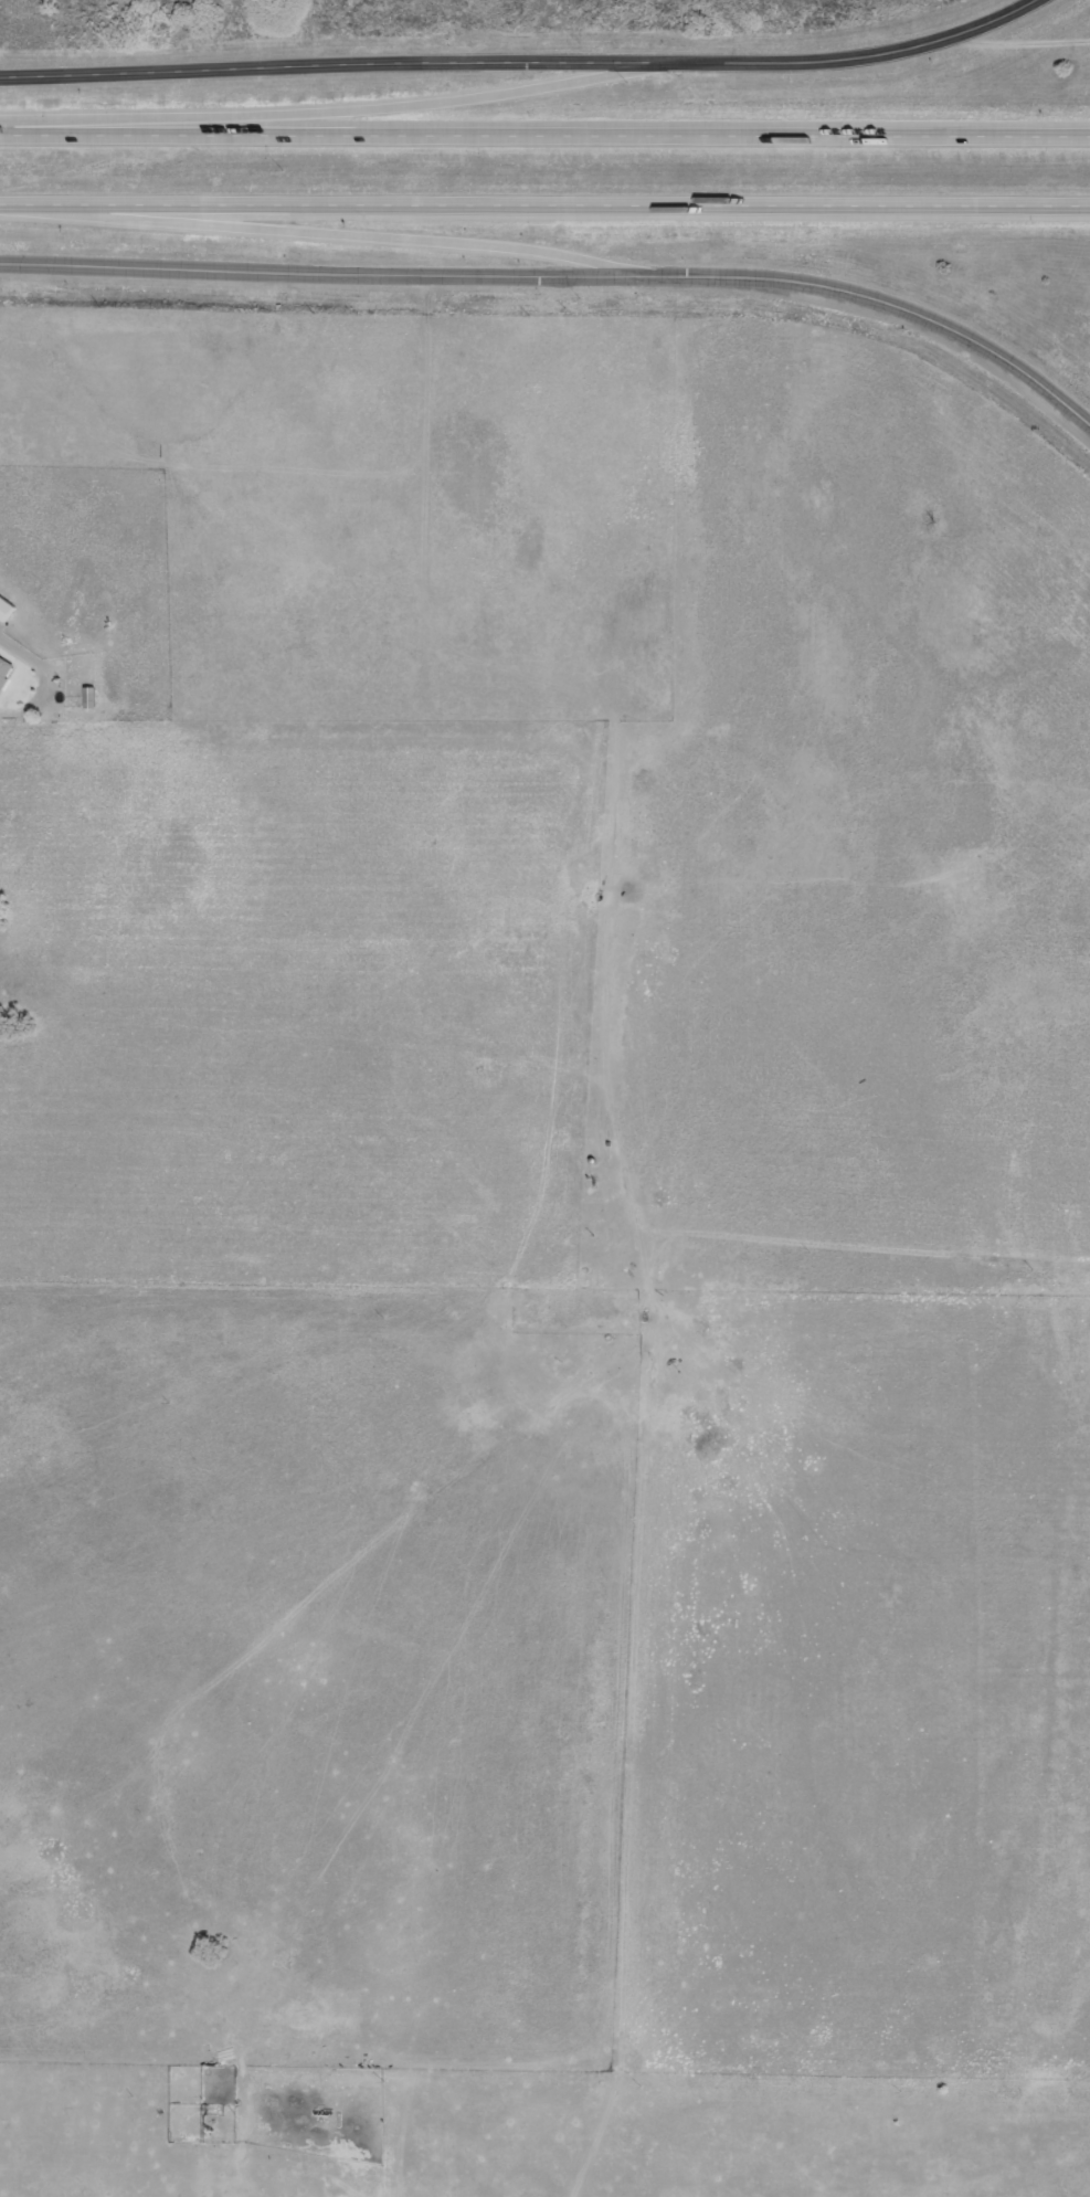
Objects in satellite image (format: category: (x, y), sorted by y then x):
road: (827, 52)
road: (314, 59)
road: (316, 106)
road: (544, 128)
road: (544, 202)
road: (314, 230)
road: (311, 272)
road: (874, 296)
building: (4, 610)
building: (1, 665)
building: (213, 2070)

